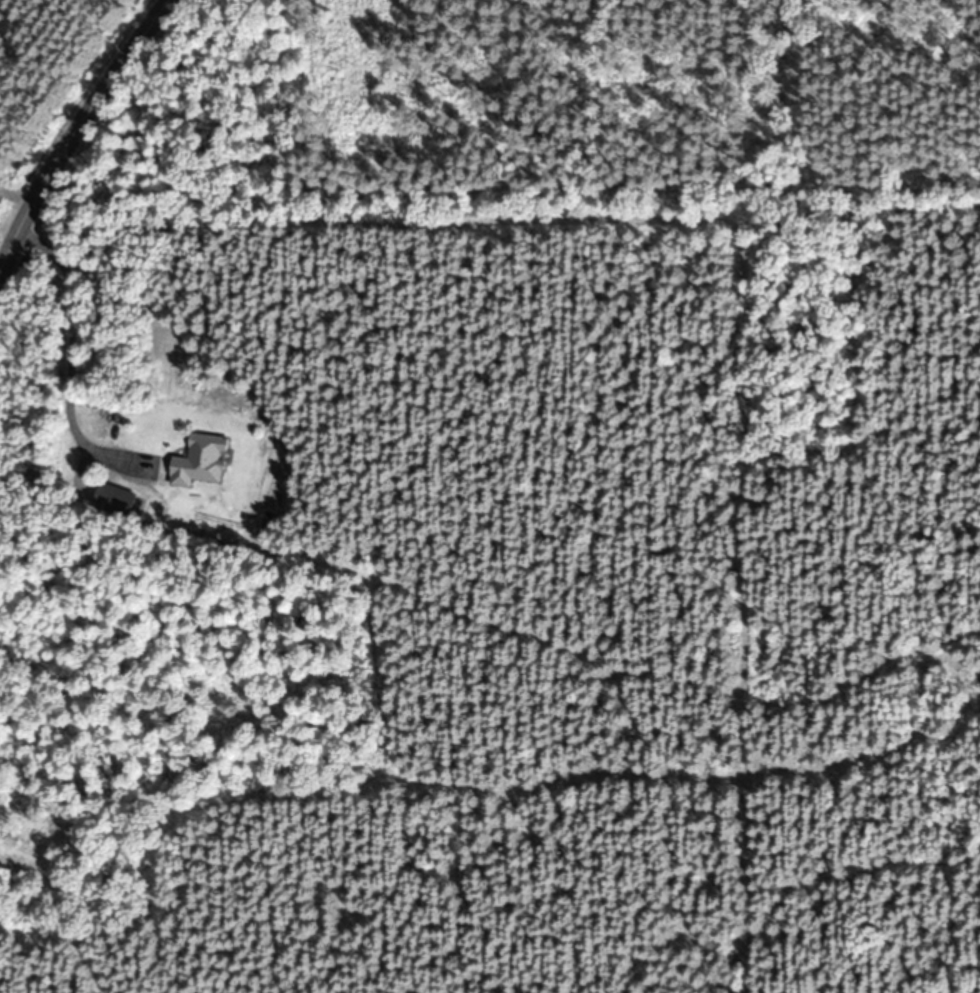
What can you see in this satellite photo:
road: (74, 123)
building: (204, 461)
building: (118, 501)

